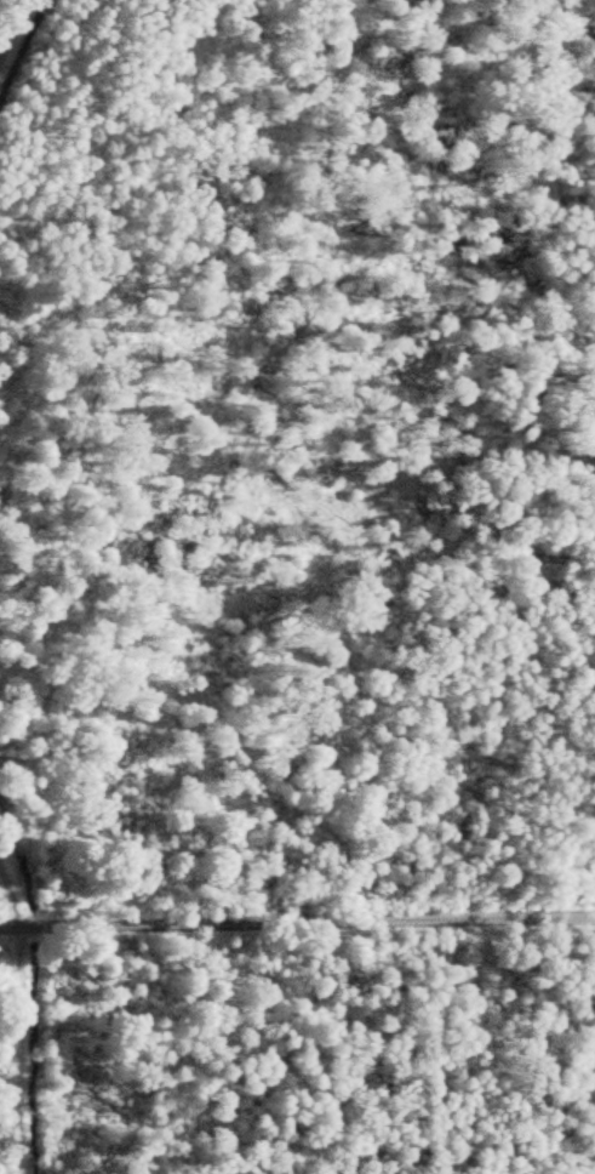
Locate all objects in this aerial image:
road: (297, 925)

